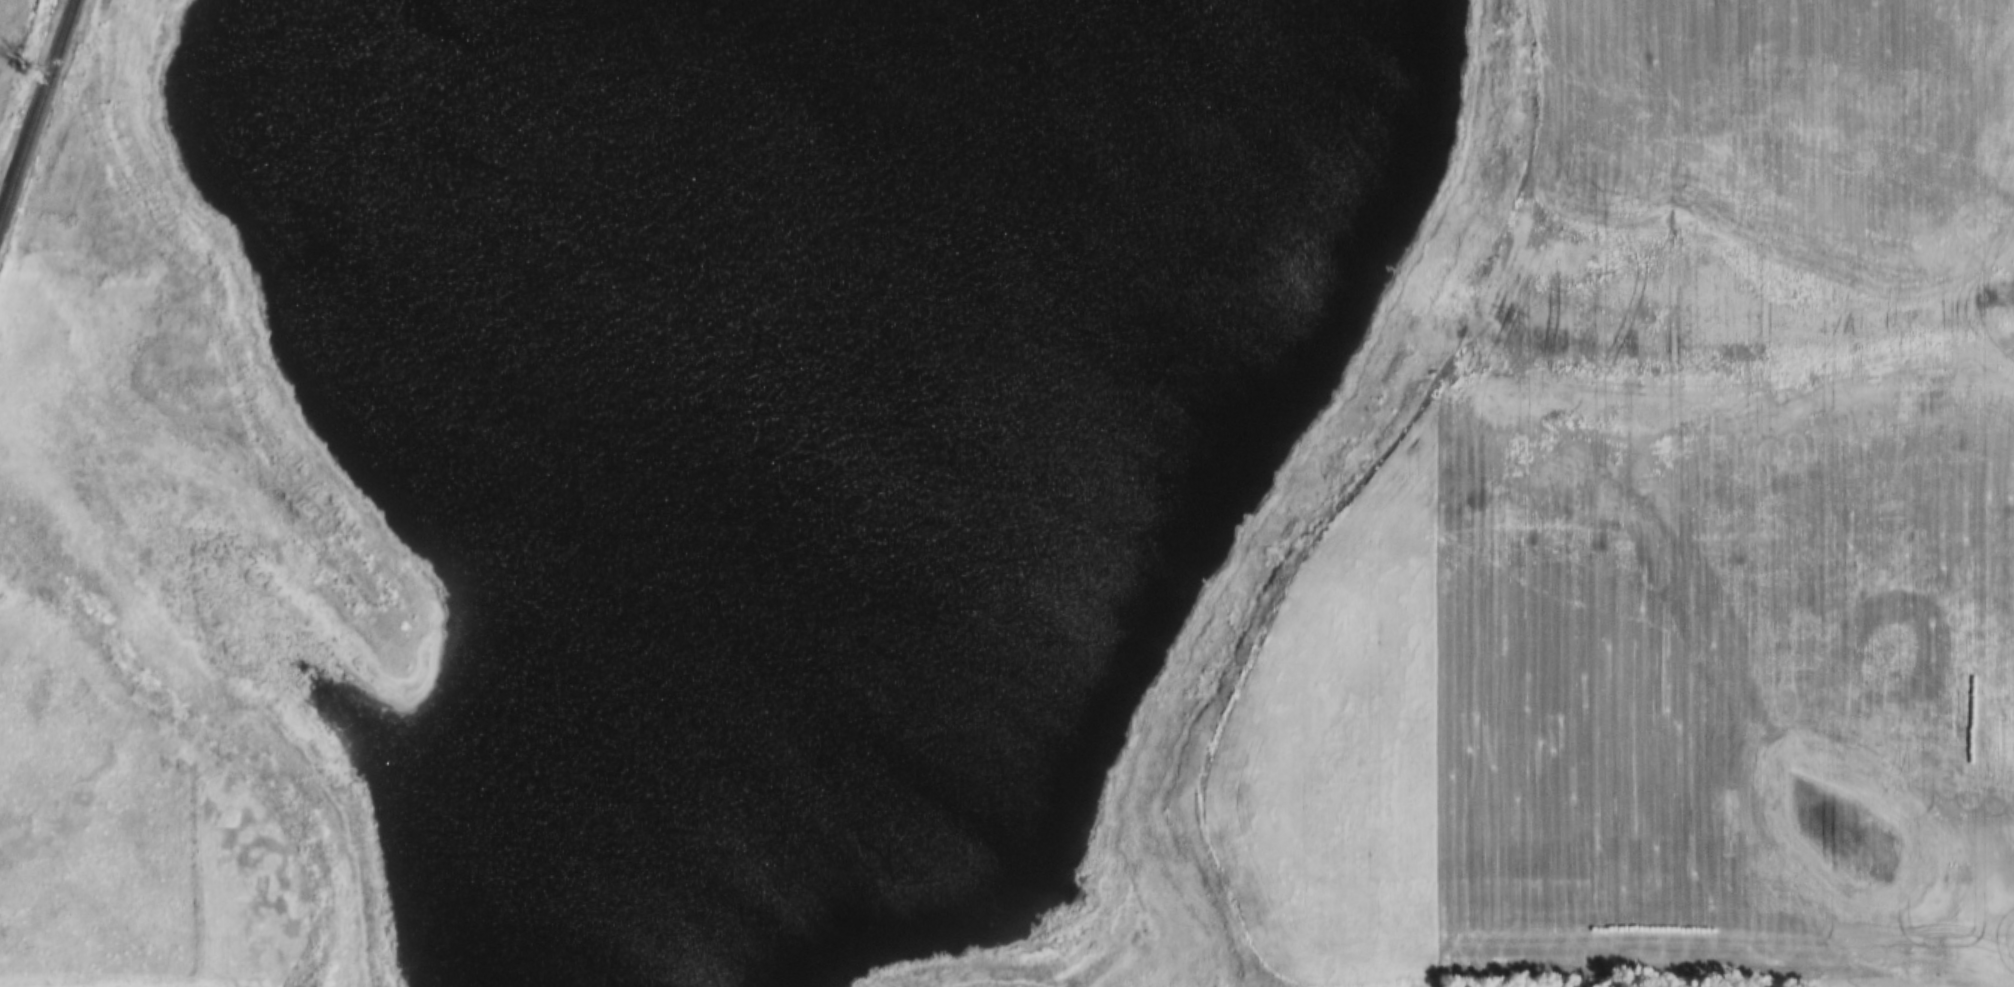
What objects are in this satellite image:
railway: (37, 108)

